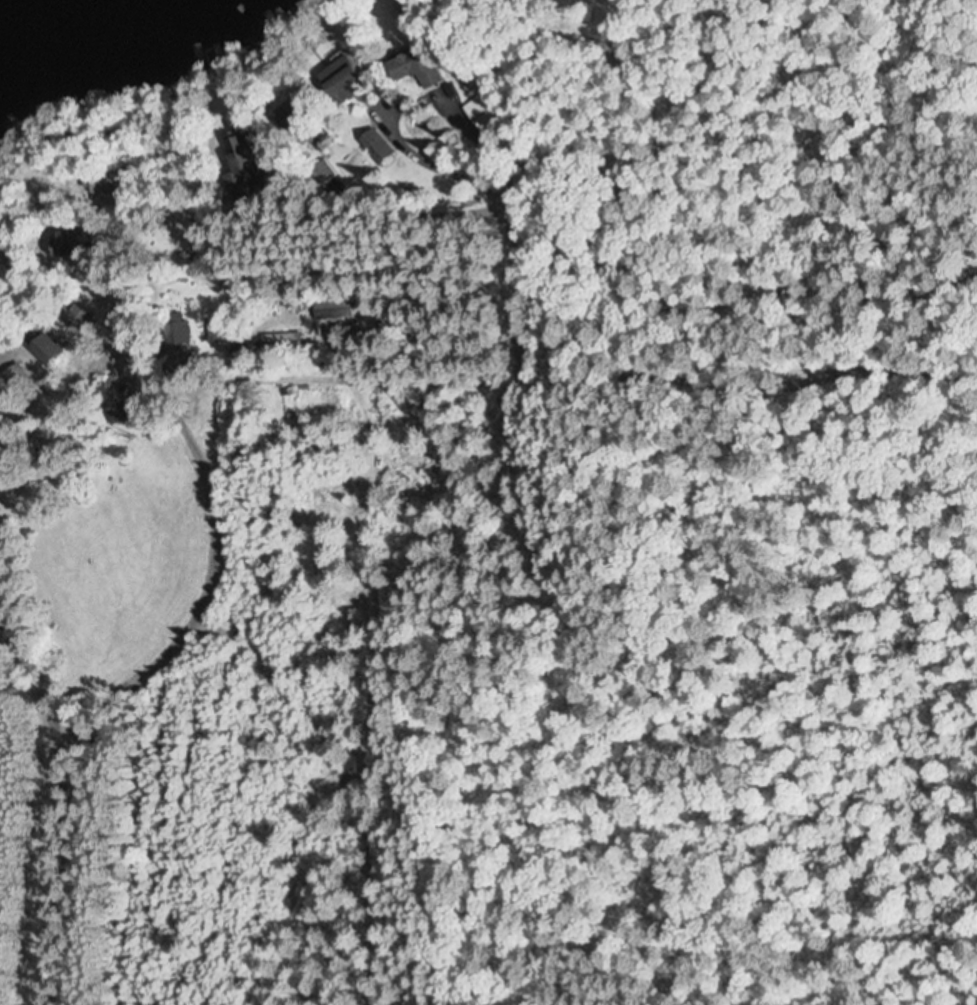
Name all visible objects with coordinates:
building: (420, 69)
building: (348, 80)
building: (485, 111)
building: (297, 113)
building: (246, 165)
building: (109, 183)
road: (774, 184)
building: (76, 243)
building: (336, 308)
building: (83, 321)
road: (134, 323)
building: (217, 332)
building: (286, 341)
building: (51, 352)
road: (875, 363)
road: (578, 371)
road: (327, 372)
building: (2, 402)
building: (133, 409)
road: (2, 595)
road: (38, 684)
road: (112, 693)

